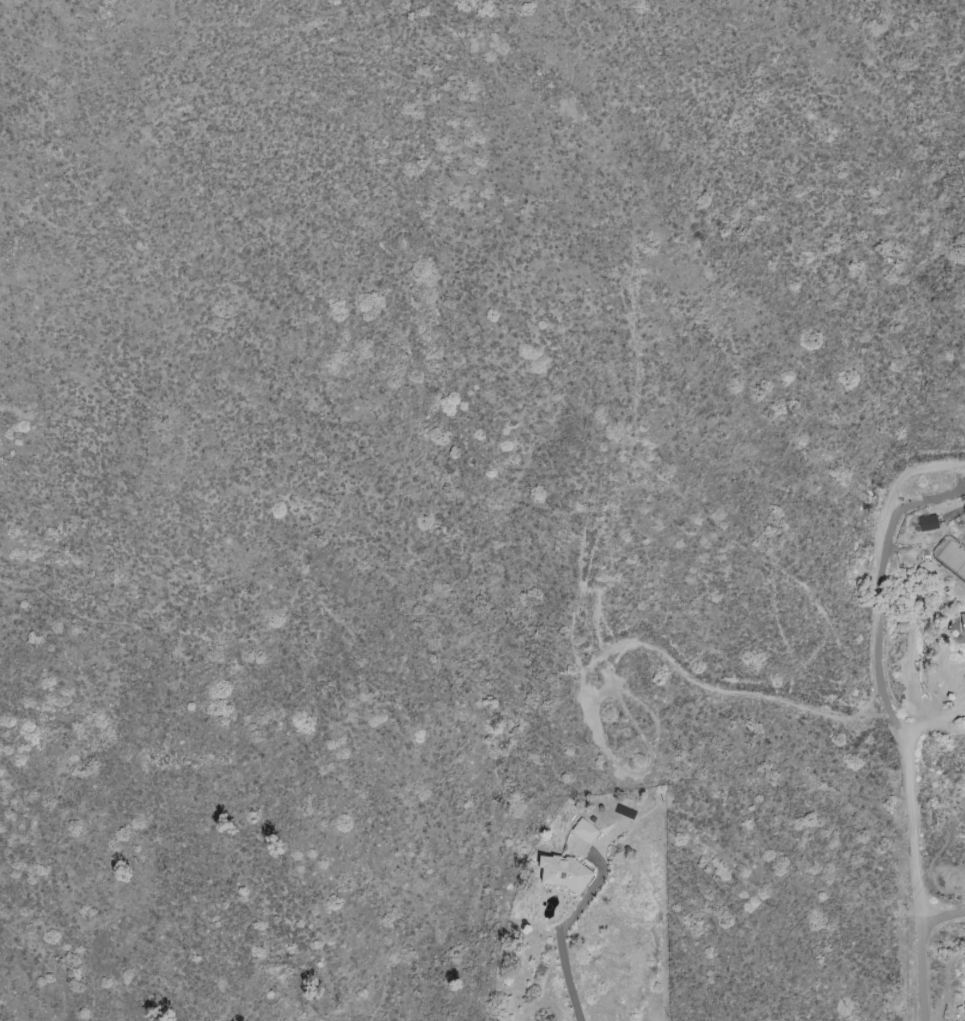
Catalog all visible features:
building: (927, 523)
road: (879, 594)
building: (962, 622)
road: (942, 719)
road: (950, 727)
building: (584, 831)
building: (562, 873)
road: (921, 874)
road: (943, 914)
road: (563, 956)

